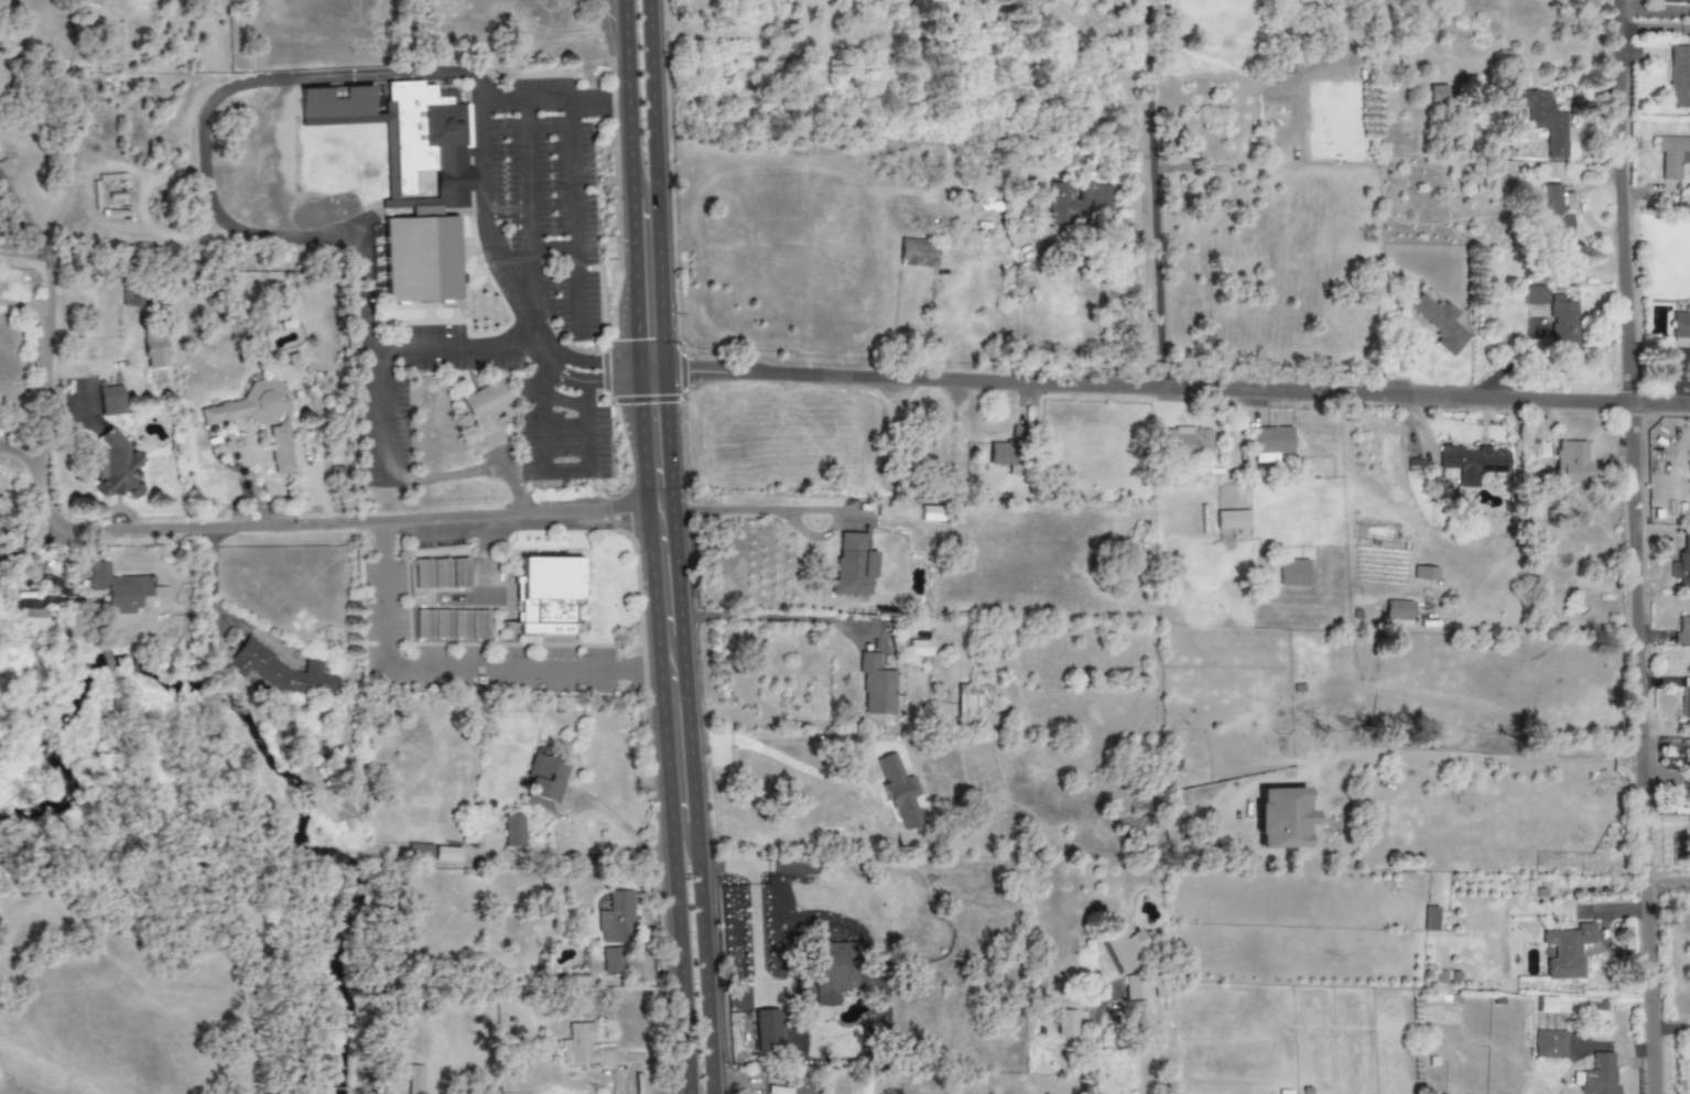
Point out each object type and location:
building: (1675, 1)
building: (89, 2)
building: (1283, 65)
building: (1679, 76)
building: (1437, 95)
road: (621, 98)
building: (1540, 118)
building: (1672, 155)
road: (490, 173)
road: (1134, 177)
building: (411, 178)
road: (664, 184)
road: (1153, 195)
building: (1075, 203)
road: (531, 204)
road: (215, 209)
road: (575, 213)
building: (1554, 214)
road: (29, 220)
road: (554, 248)
building: (918, 253)
road: (628, 277)
building: (1535, 295)
road: (23, 305)
traffic signals: (622, 323)
building: (1441, 324)
building: (1680, 325)
building: (1563, 326)
building: (153, 350)
road: (586, 357)
road: (649, 362)
road: (624, 369)
traffic signals: (695, 372)
road: (649, 375)
road: (581, 382)
traffic signals: (597, 383)
road: (1181, 388)
building: (111, 400)
building: (248, 405)
building: (487, 409)
traffic signals: (676, 414)
road: (540, 418)
building: (1184, 441)
building: (1271, 443)
road: (0, 444)
road: (0, 445)
building: (280, 452)
building: (1006, 455)
road: (22, 457)
building: (1572, 463)
building: (1471, 464)
building: (117, 466)
road: (466, 476)
road: (516, 483)
road: (816, 510)
road: (736, 512)
road: (852, 516)
building: (1232, 520)
road: (215, 528)
road: (815, 537)
road: (31, 544)
road: (1636, 546)
building: (853, 565)
building: (1682, 565)
building: (1292, 572)
building: (442, 573)
building: (1424, 573)
building: (118, 588)
road: (667, 589)
building: (548, 595)
road: (214, 606)
building: (1397, 613)
road: (783, 618)
building: (433, 625)
building: (469, 625)
building: (1682, 631)
building: (919, 648)
road: (453, 669)
building: (281, 671)
building: (876, 685)
road: (679, 686)
building: (1686, 698)
building: (974, 704)
road: (693, 732)
road: (663, 736)
road: (752, 743)
road: (1471, 757)
building: (1689, 768)
building: (544, 781)
building: (900, 792)
road: (611, 815)
building: (1280, 817)
building: (513, 831)
building: (419, 849)
building: (446, 855)
road: (594, 857)
road: (662, 859)
road: (1668, 875)
road: (746, 905)
building: (1429, 919)
building: (615, 920)
road: (649, 943)
building: (1122, 947)
building: (1567, 951)
building: (611, 961)
building: (824, 975)
building: (1134, 989)
building: (1545, 1005)
building: (1438, 1015)
building: (1066, 1023)
building: (766, 1031)
road: (1095, 1040)
building: (1549, 1044)
building: (583, 1048)
road: (639, 1057)
building: (1599, 1075)
road: (738, 1079)
building: (787, 1091)

